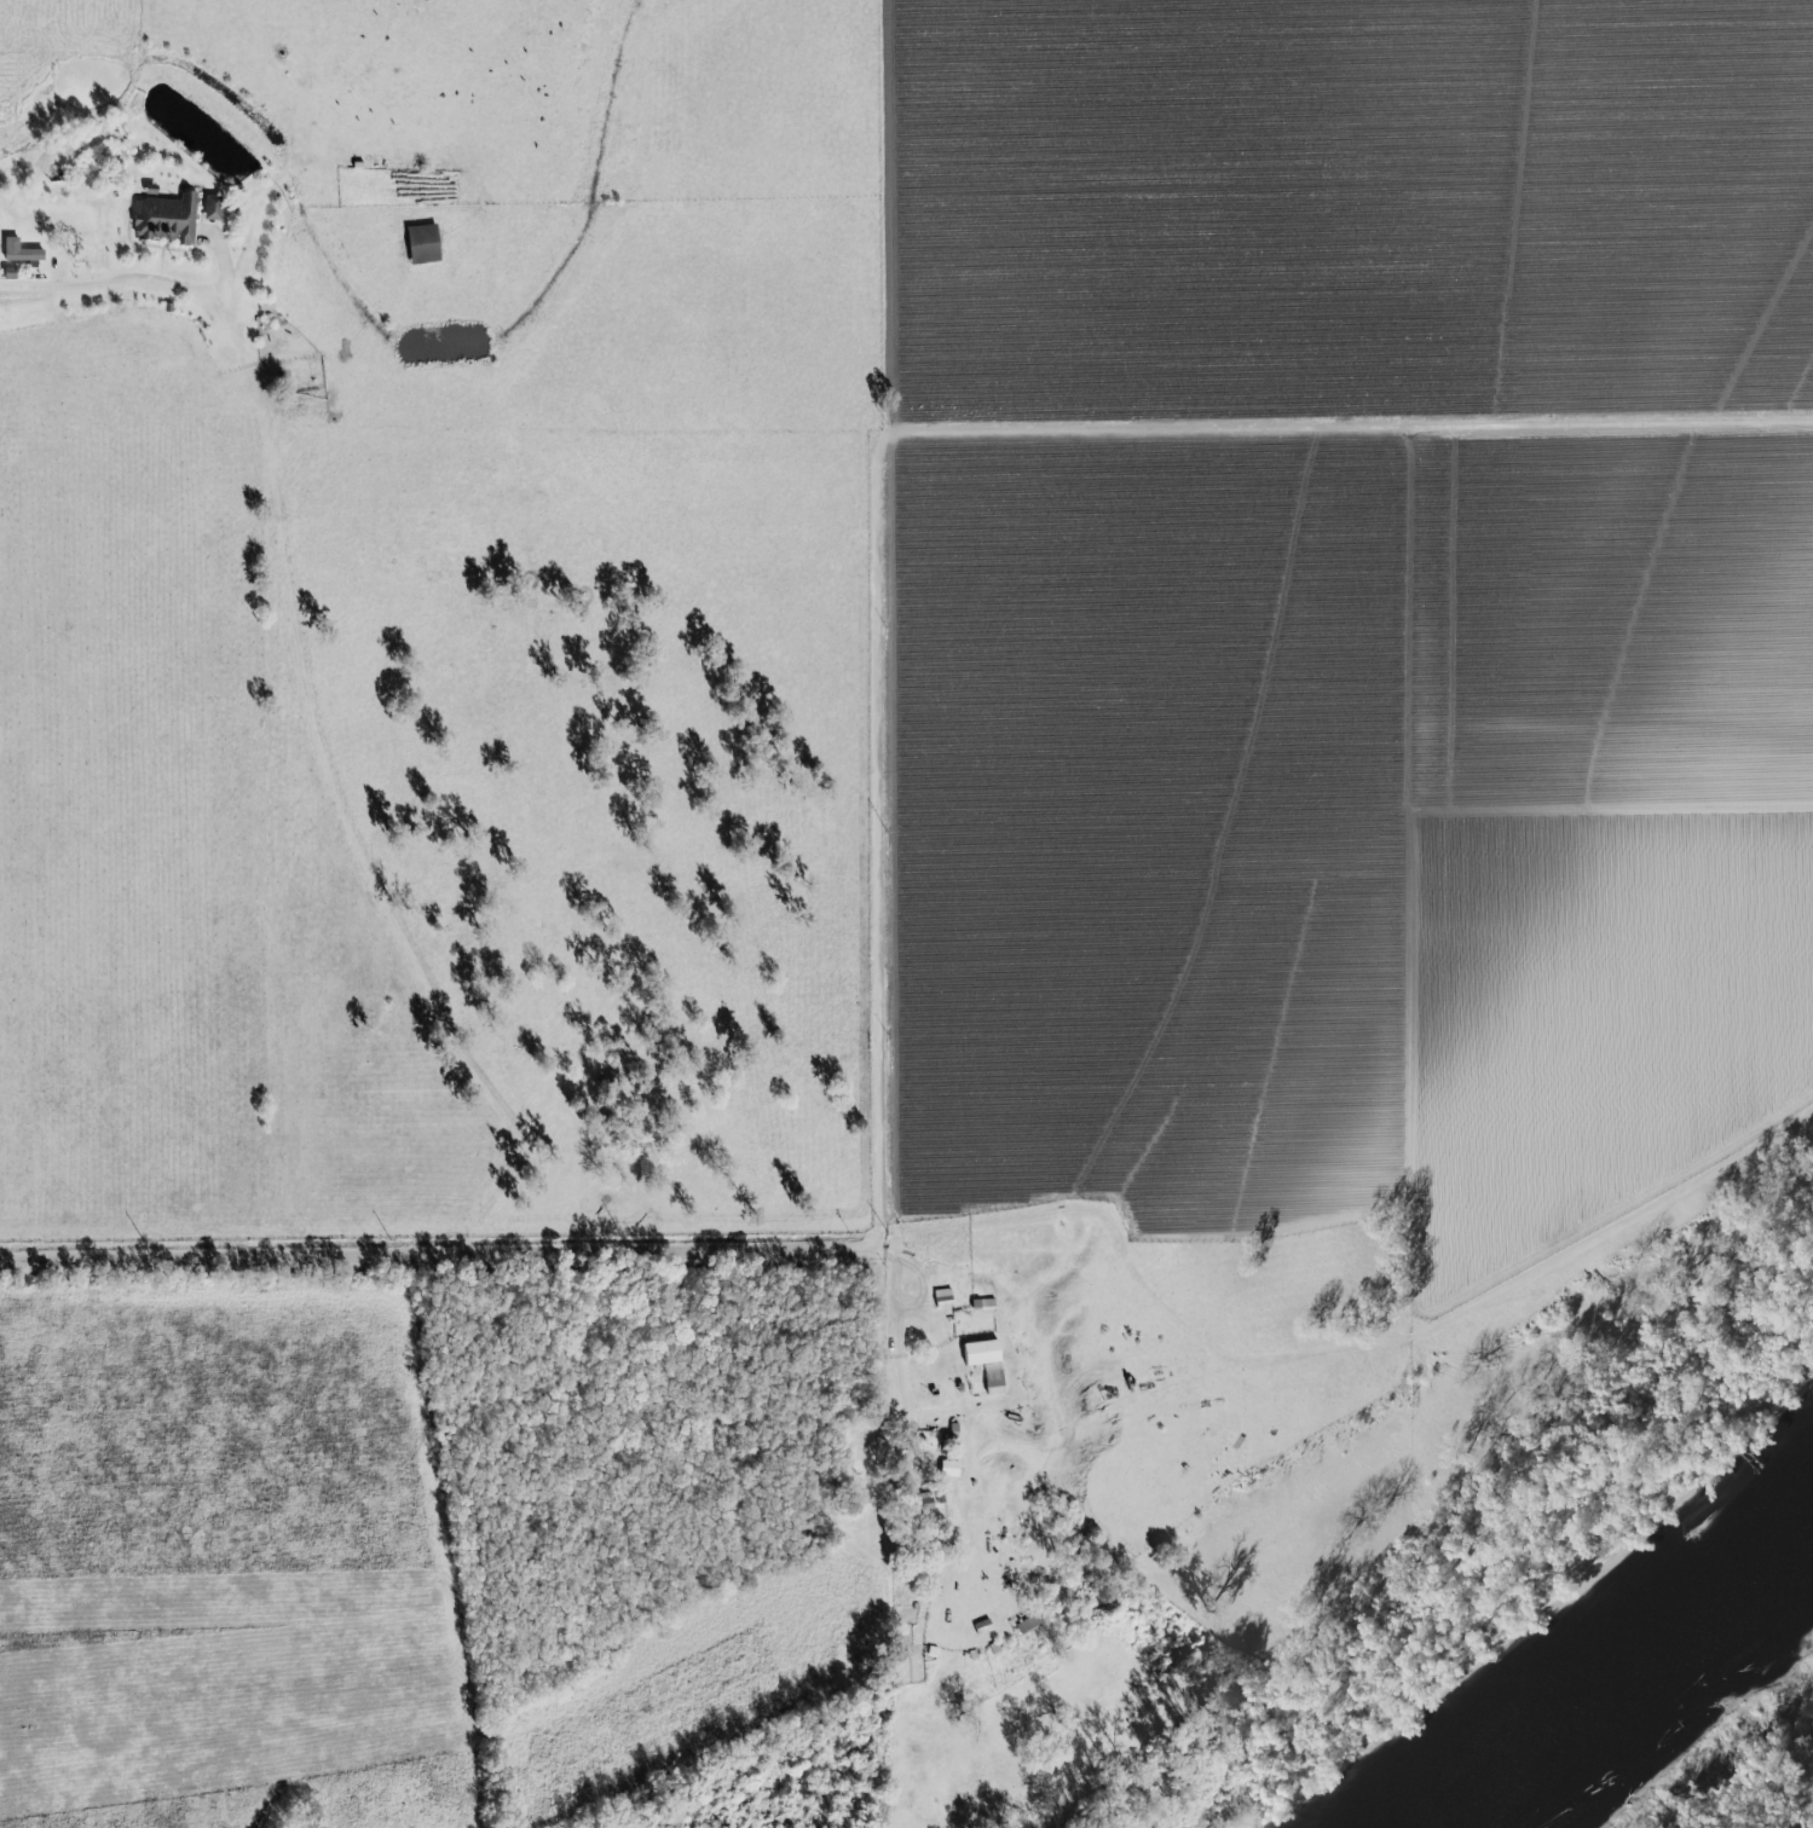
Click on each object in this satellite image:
building: (212, 208)
building: (167, 220)
building: (422, 244)
building: (19, 251)
road: (80, 296)
road: (945, 432)
road: (1226, 825)
road: (576, 1251)
road: (917, 1278)
building: (943, 1297)
building: (983, 1305)
road: (1357, 1343)
building: (981, 1352)
building: (993, 1379)
river: (1612, 1665)

